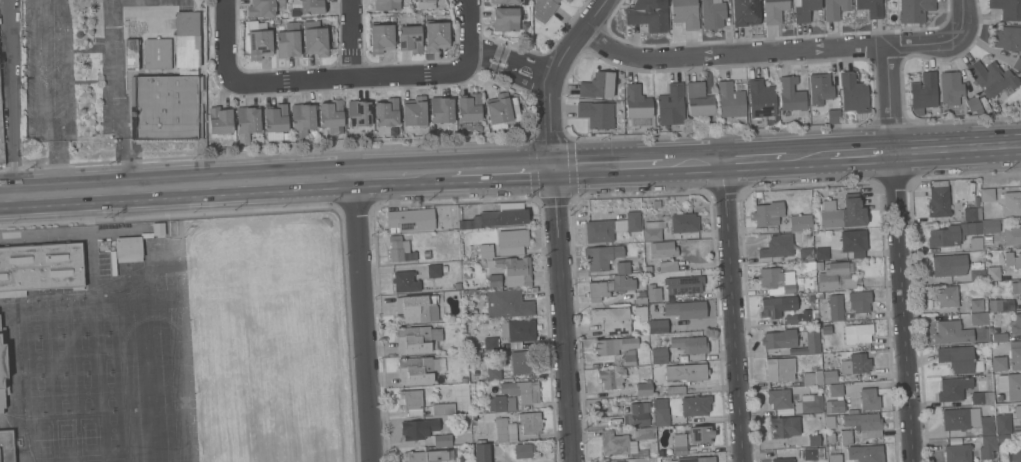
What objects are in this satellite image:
building: (423, 0)
building: (568, 0)
building: (505, 1)
building: (424, 3)
building: (387, 5)
building: (312, 6)
building: (263, 7)
building: (871, 7)
building: (1007, 8)
building: (544, 9)
building: (804, 9)
building: (835, 9)
building: (914, 10)
building: (743, 11)
building: (774, 11)
building: (685, 13)
building: (713, 13)
building: (648, 15)
road: (960, 16)
building: (506, 19)
road: (467, 26)
building: (437, 35)
building: (381, 37)
building: (1006, 37)
building: (189, 38)
building: (316, 38)
road: (349, 38)
building: (410, 38)
road: (224, 39)
building: (288, 40)
building: (260, 44)
road: (766, 51)
building: (157, 53)
building: (130, 54)
road: (510, 63)
building: (1017, 64)
road: (356, 76)
road: (550, 76)
building: (992, 78)
building: (597, 85)
building: (950, 87)
building: (820, 88)
building: (923, 92)
building: (853, 93)
building: (790, 94)
road: (122, 95)
road: (10, 98)
road: (888, 98)
building: (698, 99)
building: (762, 100)
building: (731, 101)
building: (637, 102)
building: (671, 104)
building: (973, 104)
building: (165, 107)
building: (469, 107)
building: (441, 109)
building: (415, 111)
building: (499, 111)
building: (359, 112)
building: (387, 112)
building: (331, 113)
building: (596, 114)
building: (833, 115)
building: (248, 119)
building: (302, 119)
building: (220, 120)
building: (276, 121)
road: (52, 129)
road: (549, 137)
building: (1, 138)
road: (956, 147)
road: (861, 152)
road: (808, 155)
road: (754, 158)
road: (56, 161)
road: (636, 164)
road: (569, 167)
road: (533, 168)
traffic signals: (552, 168)
road: (452, 173)
road: (812, 186)
road: (176, 188)
road: (724, 190)
road: (741, 190)
road: (641, 194)
building: (987, 194)
road: (709, 196)
road: (553, 198)
road: (572, 199)
road: (535, 200)
building: (938, 201)
road: (458, 202)
building: (1011, 203)
road: (294, 208)
road: (354, 208)
road: (338, 209)
road: (371, 209)
building: (843, 212)
building: (768, 213)
building: (972, 213)
building: (498, 216)
building: (410, 219)
building: (684, 222)
building: (800, 223)
building: (990, 226)
building: (611, 227)
building: (158, 228)
building: (652, 231)
building: (952, 233)
building: (1012, 236)
building: (513, 238)
building: (462, 242)
building: (853, 242)
building: (975, 243)
building: (988, 245)
building: (777, 246)
building: (128, 249)
building: (400, 249)
building: (663, 249)
building: (482, 250)
building: (821, 253)
building: (426, 254)
building: (463, 254)
building: (806, 254)
building: (601, 256)
building: (1012, 259)
building: (668, 265)
building: (819, 265)
building: (949, 265)
building: (42, 267)
building: (622, 267)
building: (647, 269)
building: (433, 270)
building: (514, 270)
building: (977, 271)
building: (993, 273)
building: (467, 275)
building: (836, 276)
building: (494, 280)
building: (776, 280)
building: (405, 281)
building: (684, 284)
building: (457, 285)
building: (801, 286)
building: (609, 287)
building: (1015, 287)
building: (653, 292)
building: (12, 293)
building: (820, 295)
building: (946, 296)
building: (641, 298)
building: (507, 303)
building: (859, 303)
building: (976, 304)
building: (995, 305)
building: (777, 306)
road: (901, 306)
building: (835, 307)
building: (416, 309)
building: (686, 309)
building: (467, 311)
road: (732, 311)
building: (641, 312)
road: (562, 315)
building: (791, 318)
building: (979, 318)
road: (362, 319)
building: (612, 319)
building: (1015, 324)
building: (657, 326)
building: (826, 329)
building: (518, 330)
building: (952, 332)
building: (858, 333)
building: (999, 337)
building: (417, 339)
building: (779, 339)
park: (264, 341)
building: (812, 341)
building: (490, 343)
building: (690, 344)
building: (615, 345)
building: (659, 355)
building: (1015, 355)
building: (629, 357)
building: (959, 359)
building: (524, 362)
building: (999, 363)
building: (855, 364)
building: (3, 369)
building: (419, 369)
building: (779, 369)
building: (686, 372)
building: (494, 373)
building: (829, 376)
building: (812, 377)
building: (611, 378)
building: (464, 379)
building: (1010, 385)
building: (643, 388)
building: (953, 388)
building: (676, 389)
building: (522, 390)
building: (835, 390)
building: (982, 397)
building: (999, 397)
building: (779, 398)
building: (869, 399)
building: (411, 402)
building: (497, 403)
building: (812, 403)
building: (695, 405)
building: (835, 406)
building: (443, 409)
building: (661, 411)
building: (852, 411)
building: (1020, 411)
building: (638, 414)
building: (956, 419)
building: (530, 422)
building: (829, 422)
building: (1003, 423)
building: (864, 424)
building: (987, 425)
building: (784, 426)
building: (482, 427)
building: (413, 430)
building: (505, 430)
building: (645, 433)
building: (701, 434)
building: (831, 437)
building: (846, 437)
building: (1003, 438)
building: (443, 440)
building: (814, 440)
building: (679, 444)
building: (619, 445)
building: (6, 446)
building: (987, 446)
building: (524, 450)
building: (482, 452)
building: (660, 452)
building: (1015, 452)
building: (814, 453)
building: (865, 453)
building: (957, 453)
building: (834, 455)
building: (428, 456)
building: (462, 458)
building: (695, 459)
building: (782, 459)

